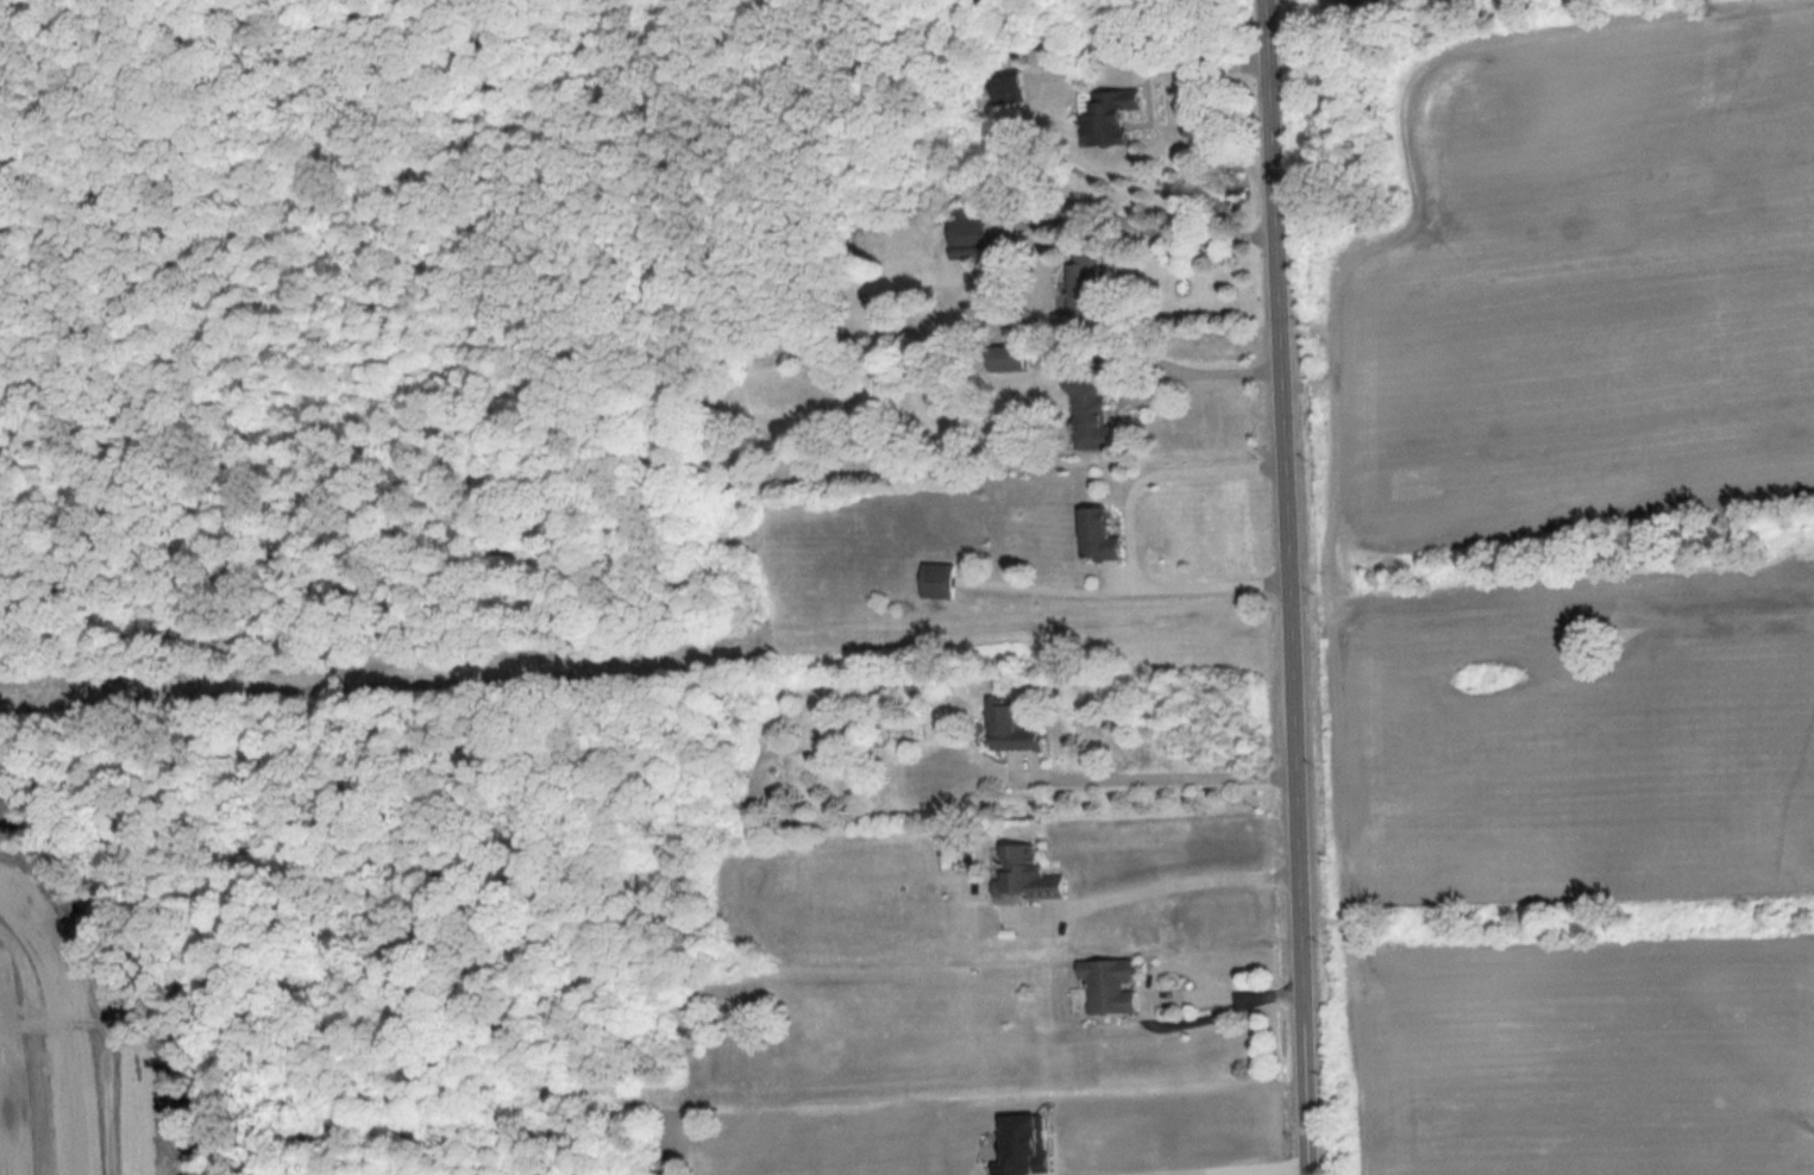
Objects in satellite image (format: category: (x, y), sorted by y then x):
crop: (1352, 4)
road: (181, 18)
road: (1207, 67)
building: (1010, 89)
building: (1112, 118)
road: (1179, 235)
building: (1084, 281)
crop: (1594, 307)
building: (1010, 359)
road: (1154, 394)
building: (1090, 416)
road: (1157, 470)
building: (1101, 534)
building: (940, 582)
road: (1293, 586)
road: (1132, 587)
crop: (1600, 646)
crop: (1600, 646)
crop: (1483, 672)
crop: (1483, 672)
building: (1013, 728)
crop: (1586, 742)
road: (1163, 773)
building: (1028, 876)
road: (1170, 886)
building: (1111, 986)
road: (64, 1026)
crop: (1584, 1056)
road: (1244, 1169)

